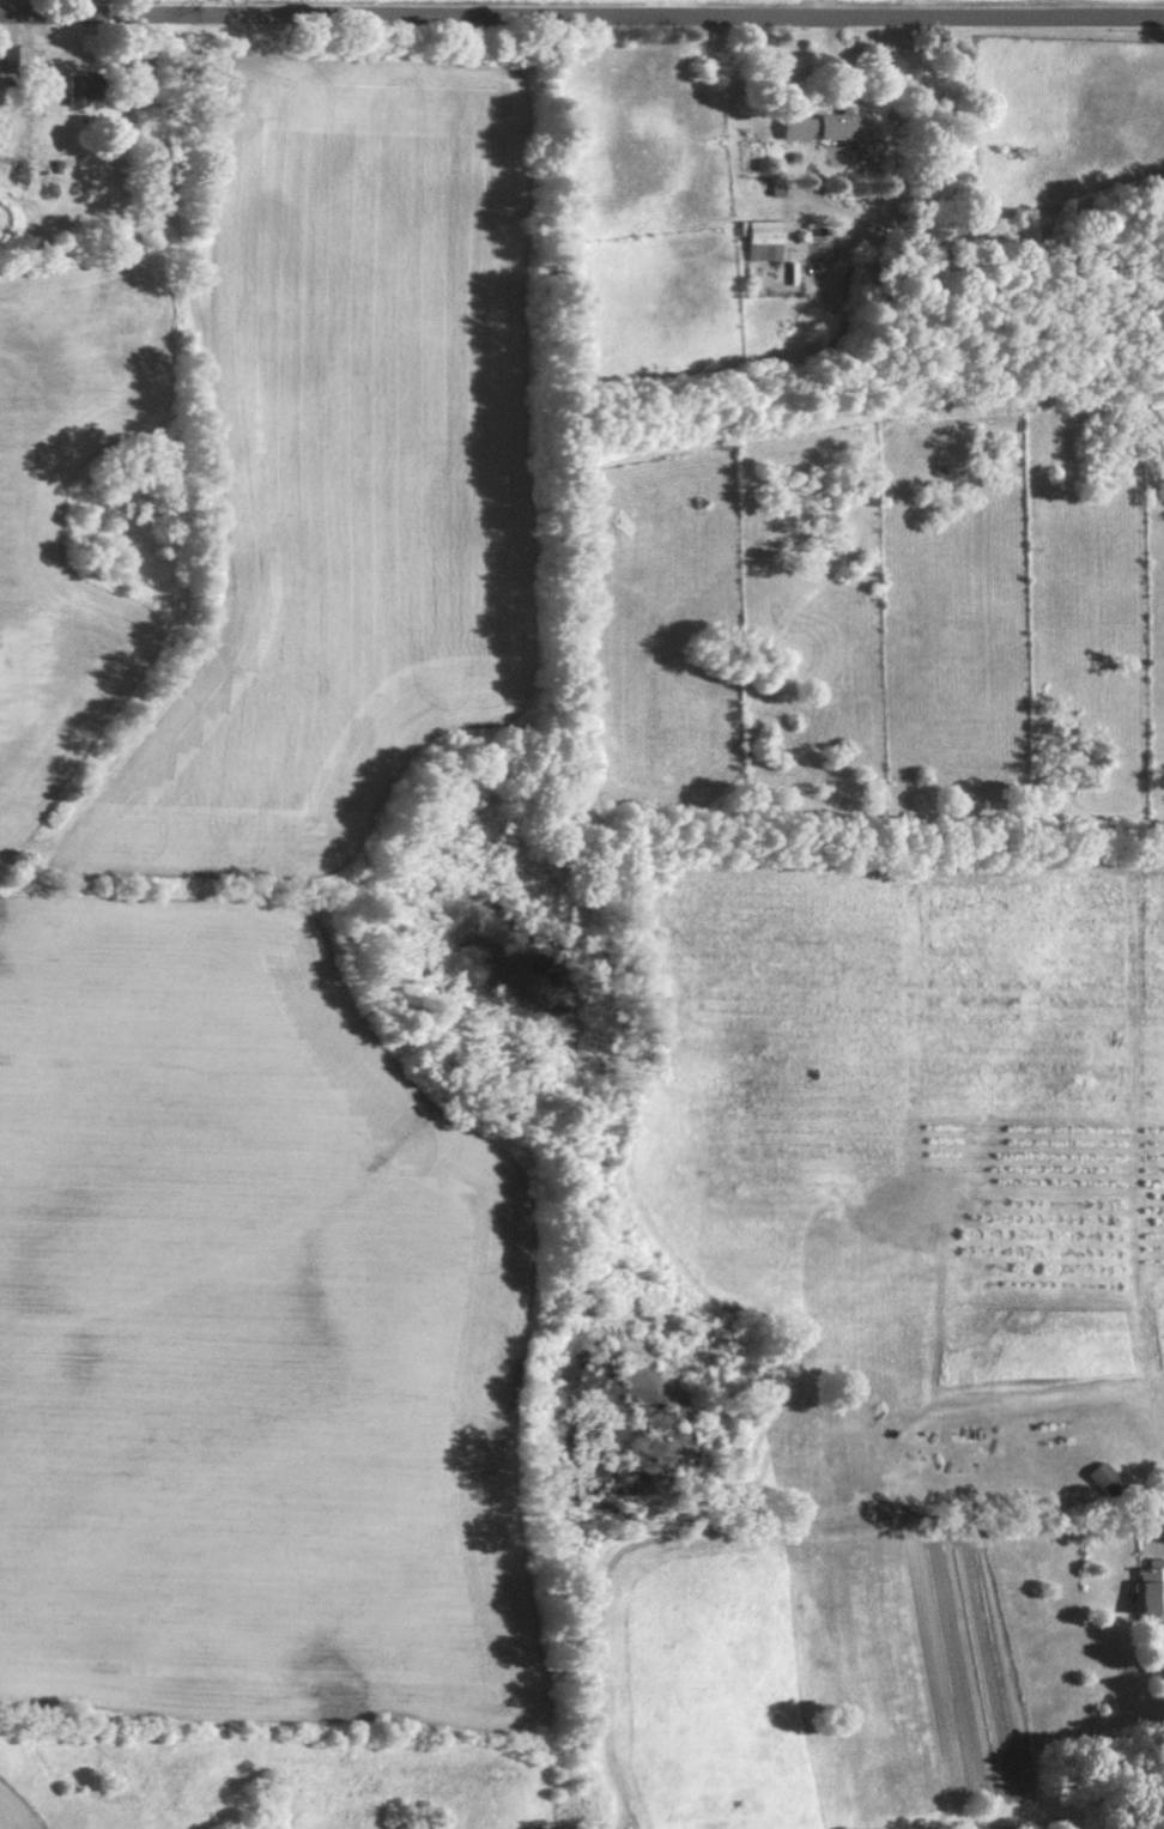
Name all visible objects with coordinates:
road: (581, 17)
building: (12, 56)
building: (817, 125)
building: (758, 240)
building: (1093, 1478)
building: (1139, 1587)

